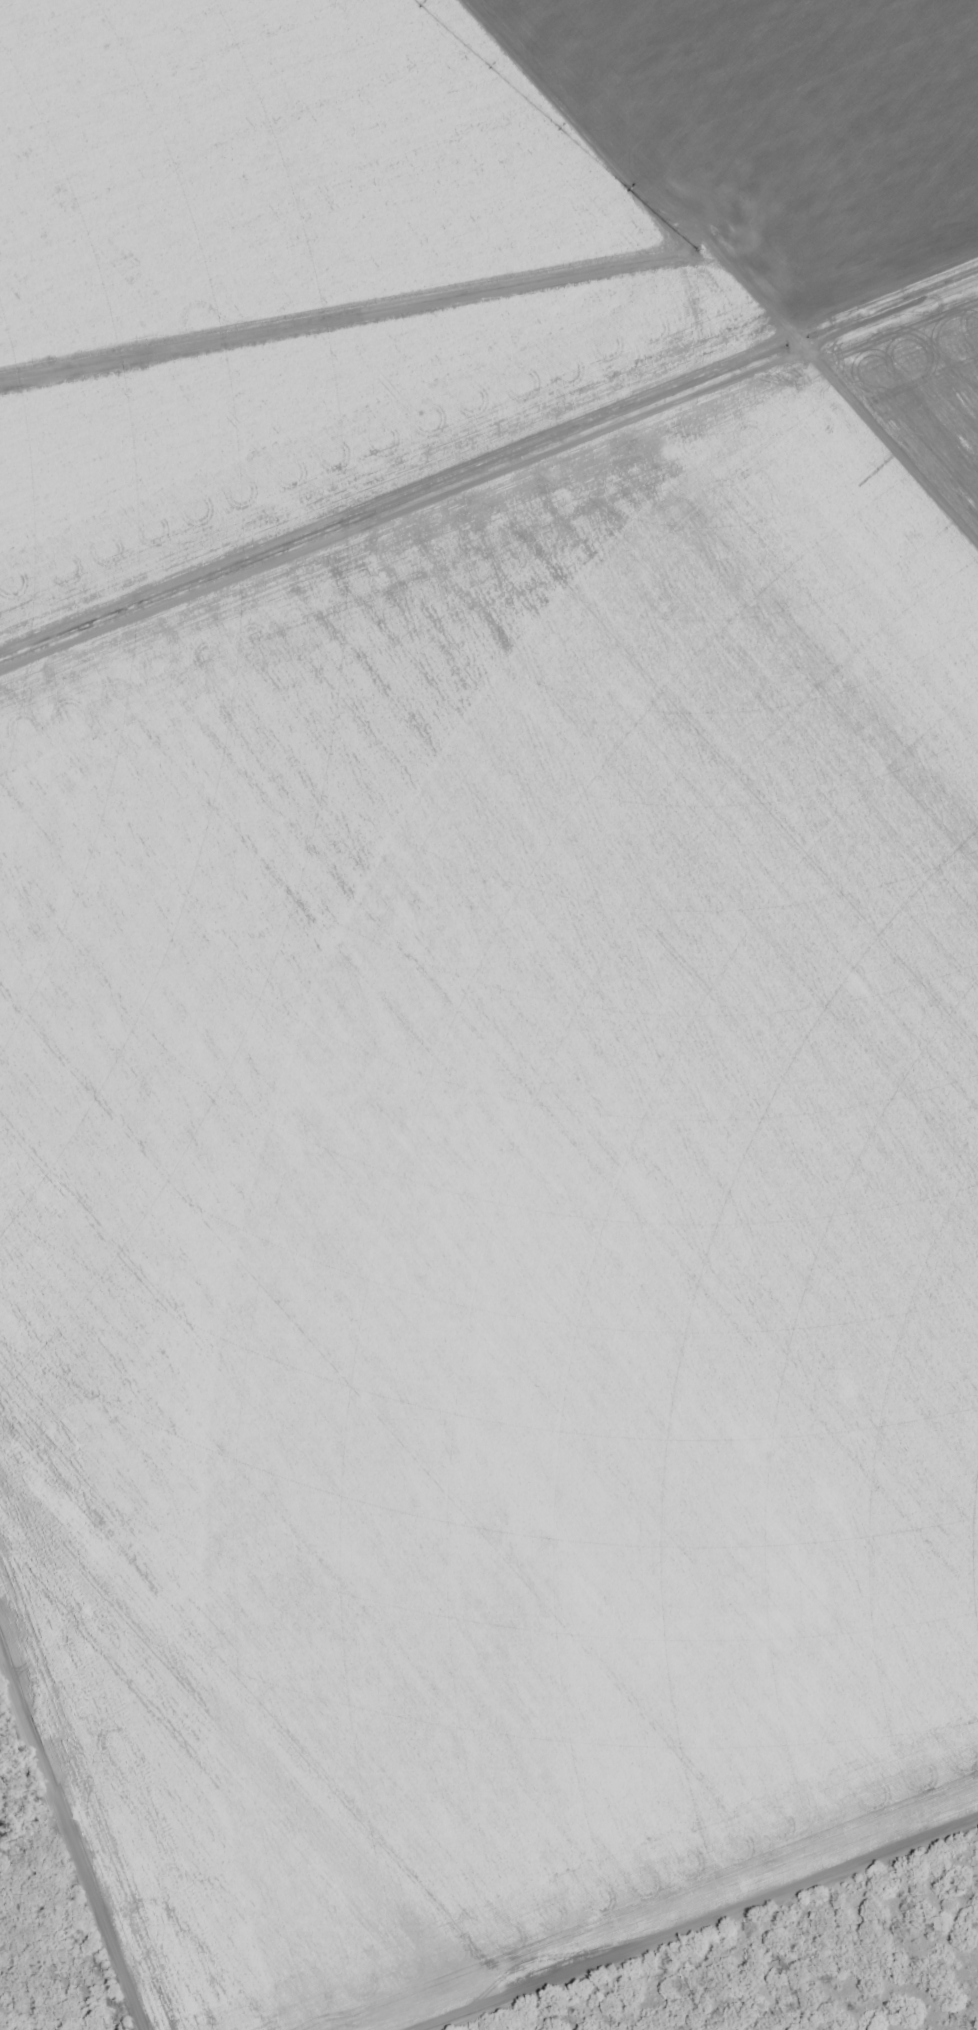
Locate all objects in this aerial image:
road: (488, 468)
road: (71, 1825)
road: (697, 1921)

